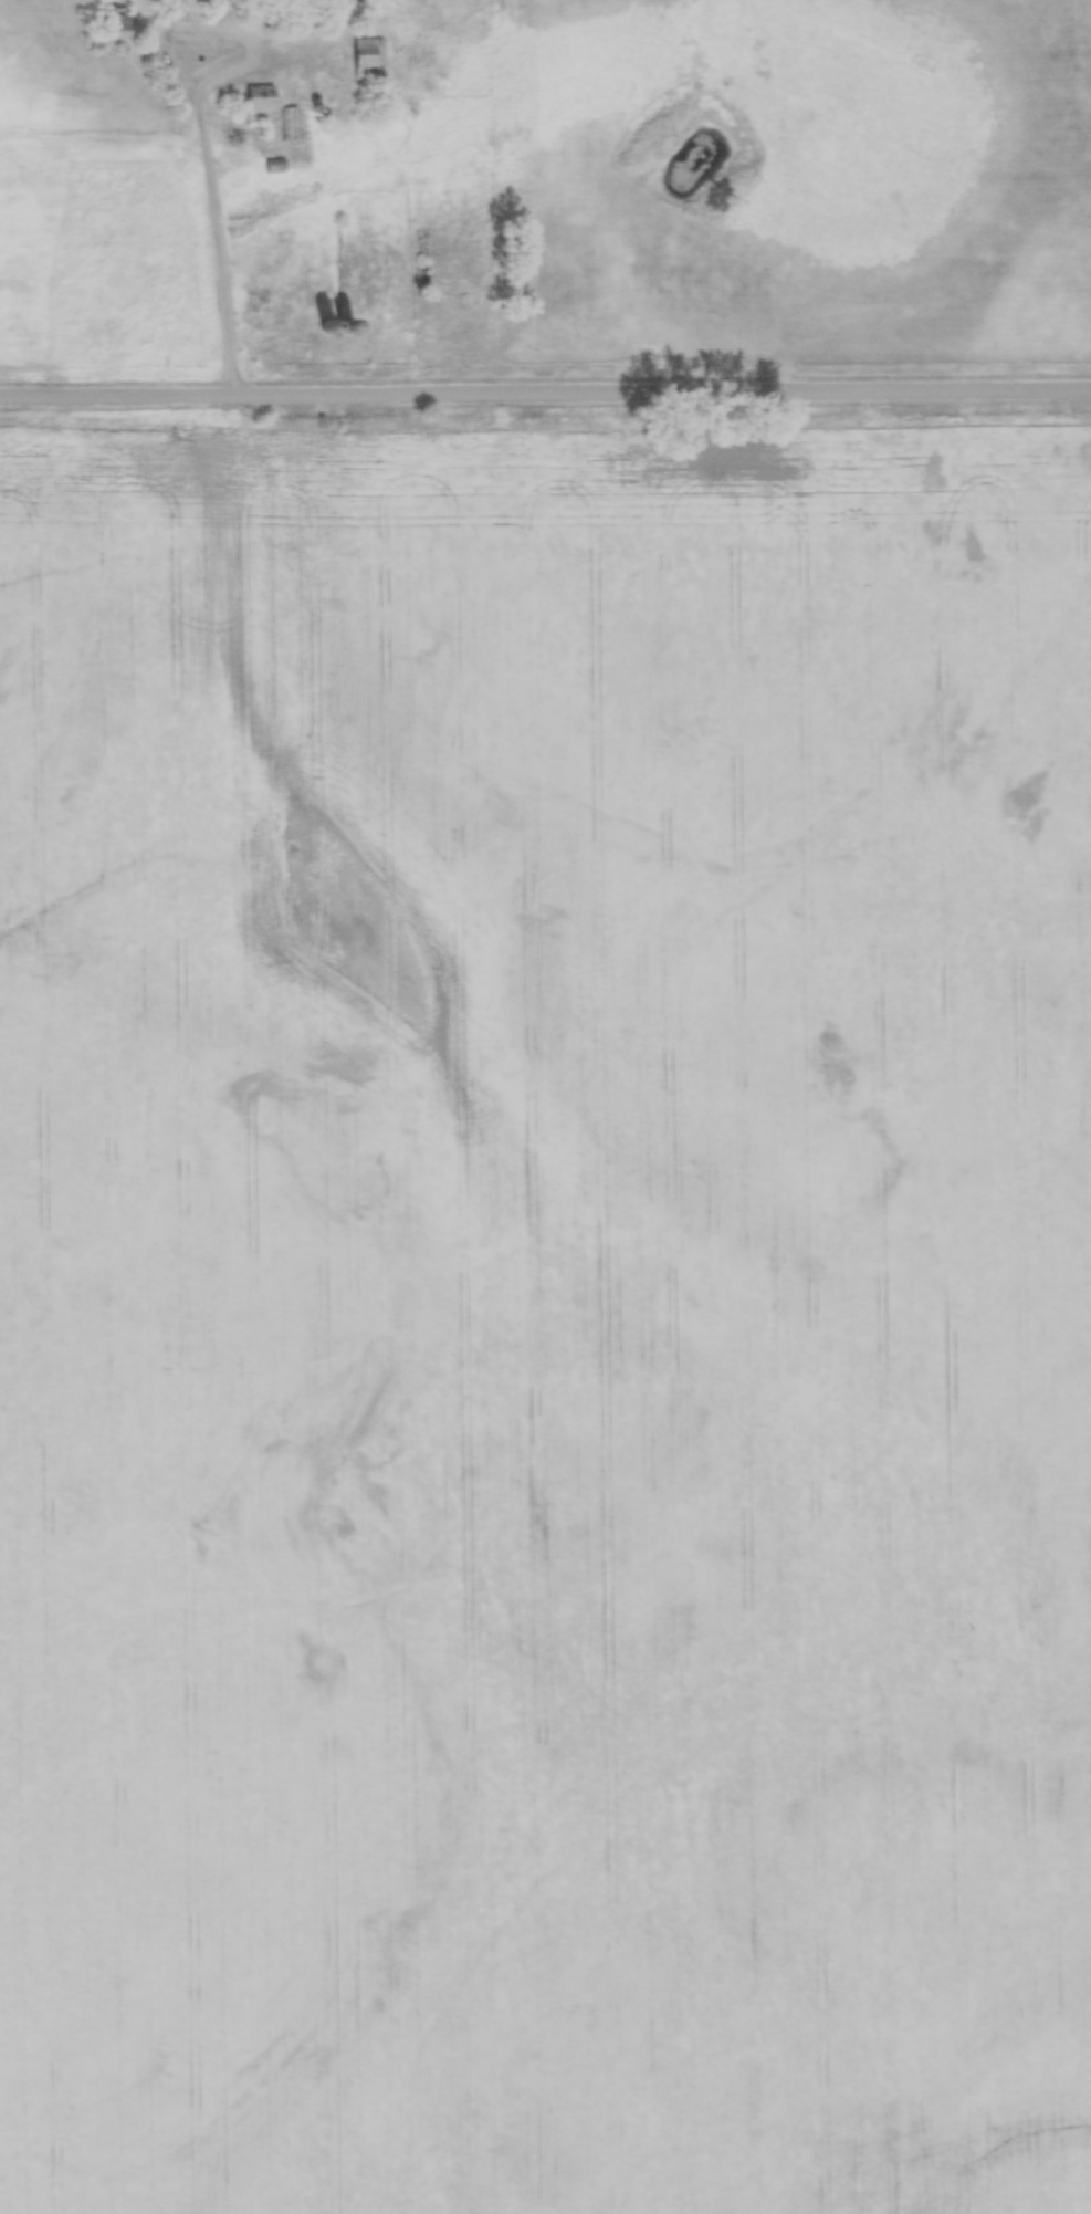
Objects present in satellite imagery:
building: (112, 21)
building: (366, 56)
road: (545, 394)

